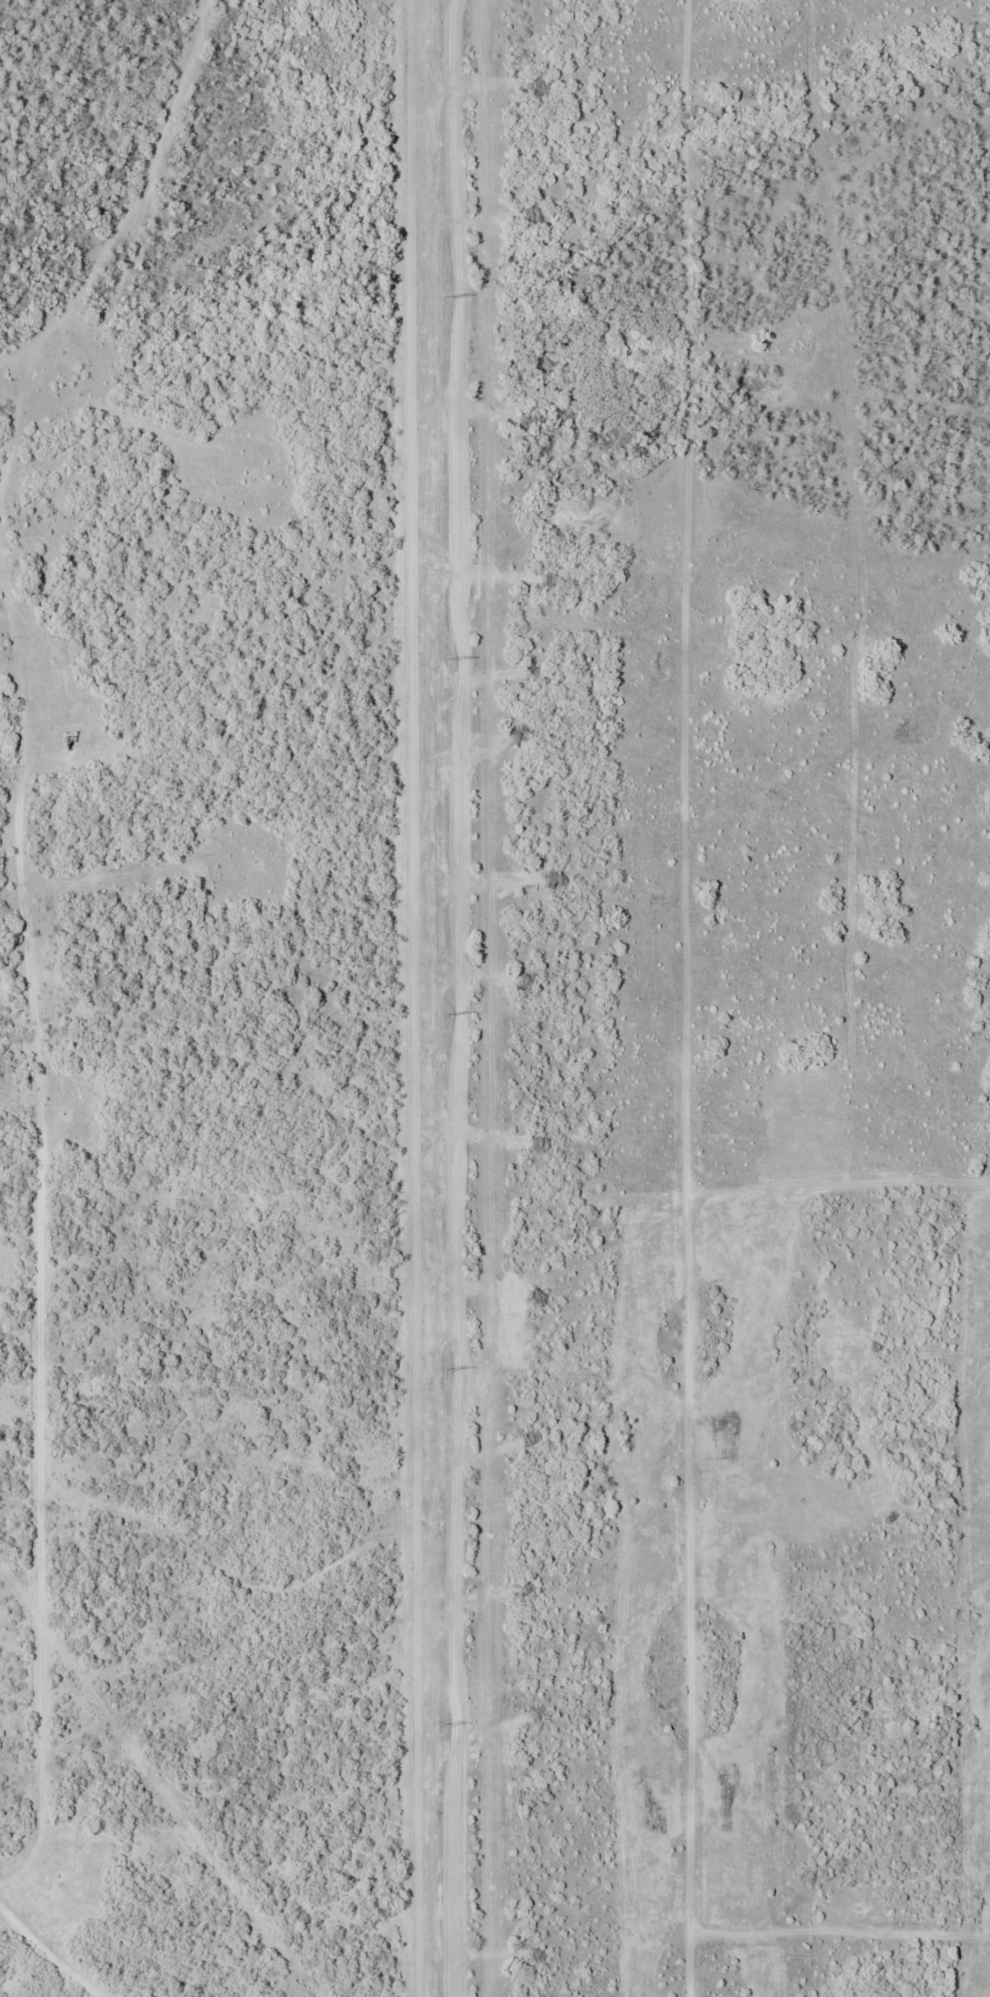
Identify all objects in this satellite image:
power tower: (444, 298)
road: (129, 322)
road: (17, 452)
power tower: (448, 660)
power tower: (446, 1017)
road: (49, 1259)
power tower: (444, 1371)
power tower: (442, 1727)

